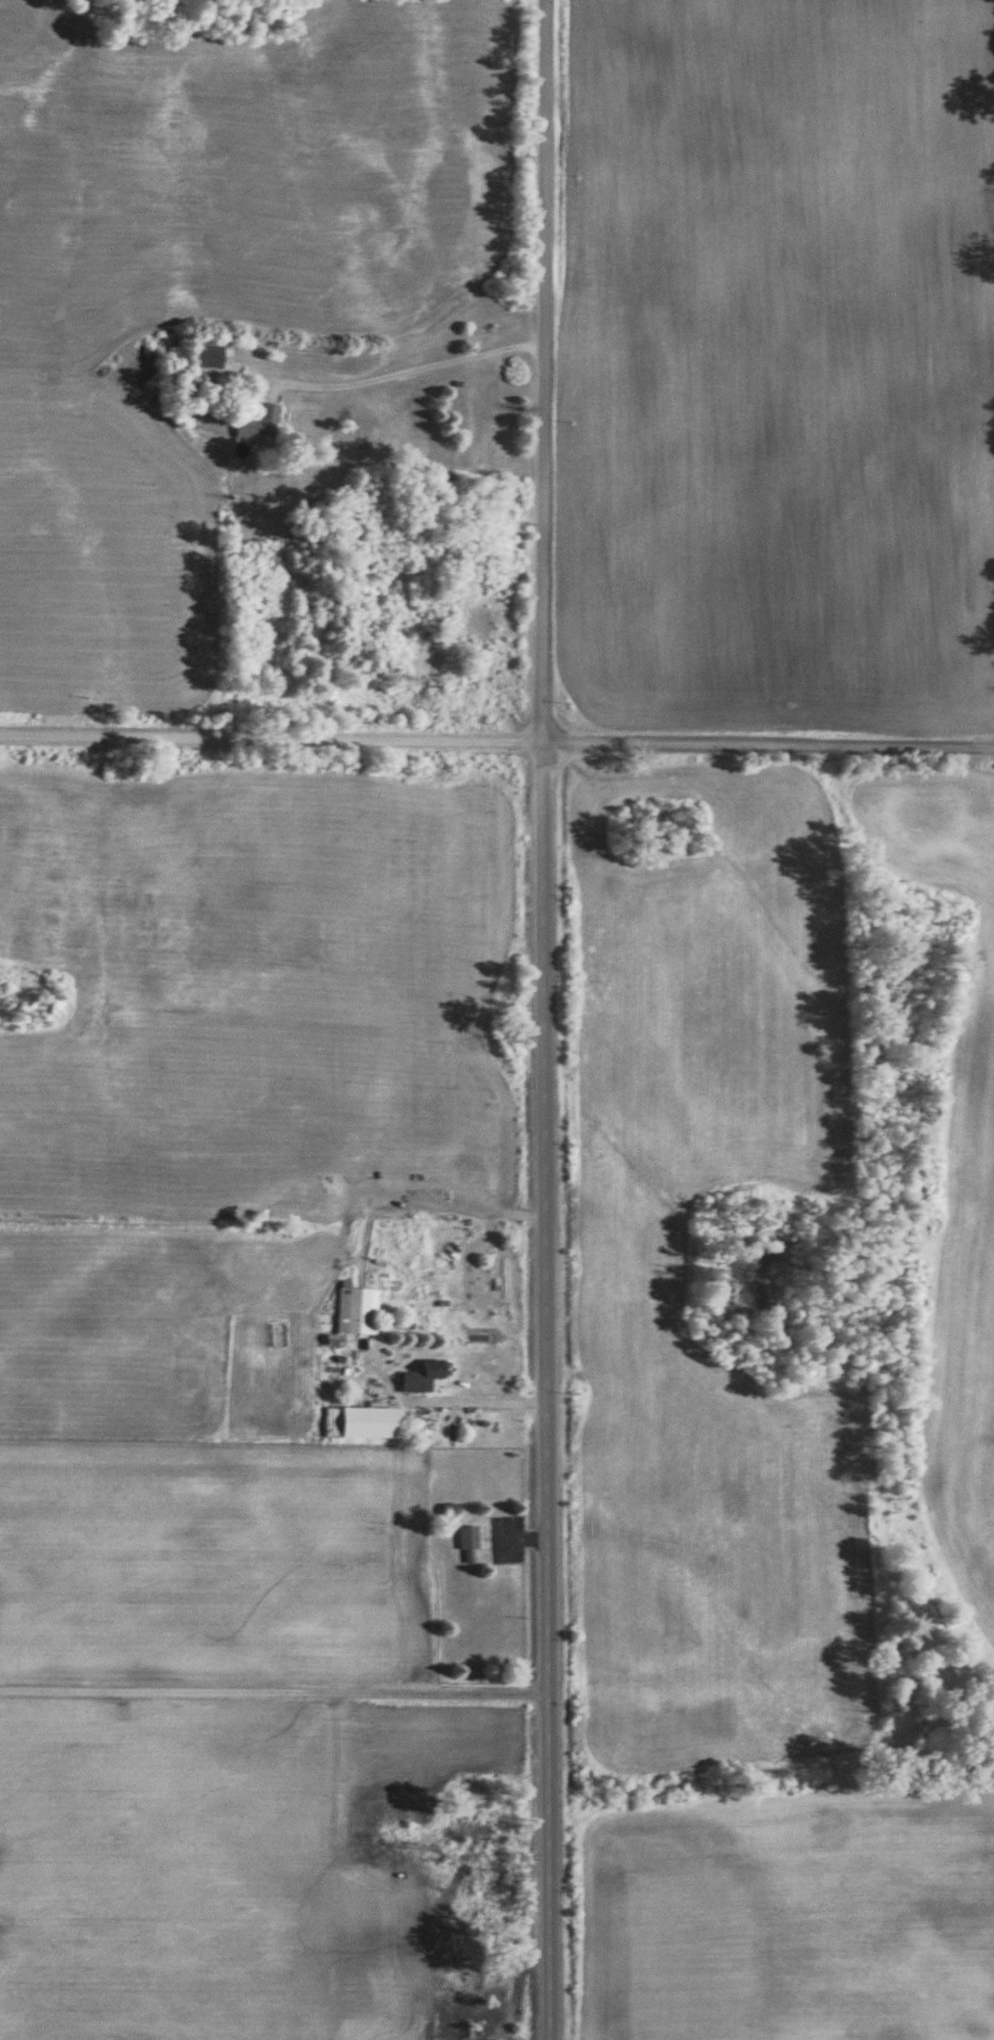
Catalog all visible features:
building: (207, 356)
road: (412, 370)
road: (547, 371)
building: (258, 424)
road: (276, 738)
road: (773, 742)
building: (356, 1312)
building: (422, 1378)
road: (546, 1391)
building: (368, 1424)
building: (450, 1510)
building: (468, 1538)
road: (124, 1669)

